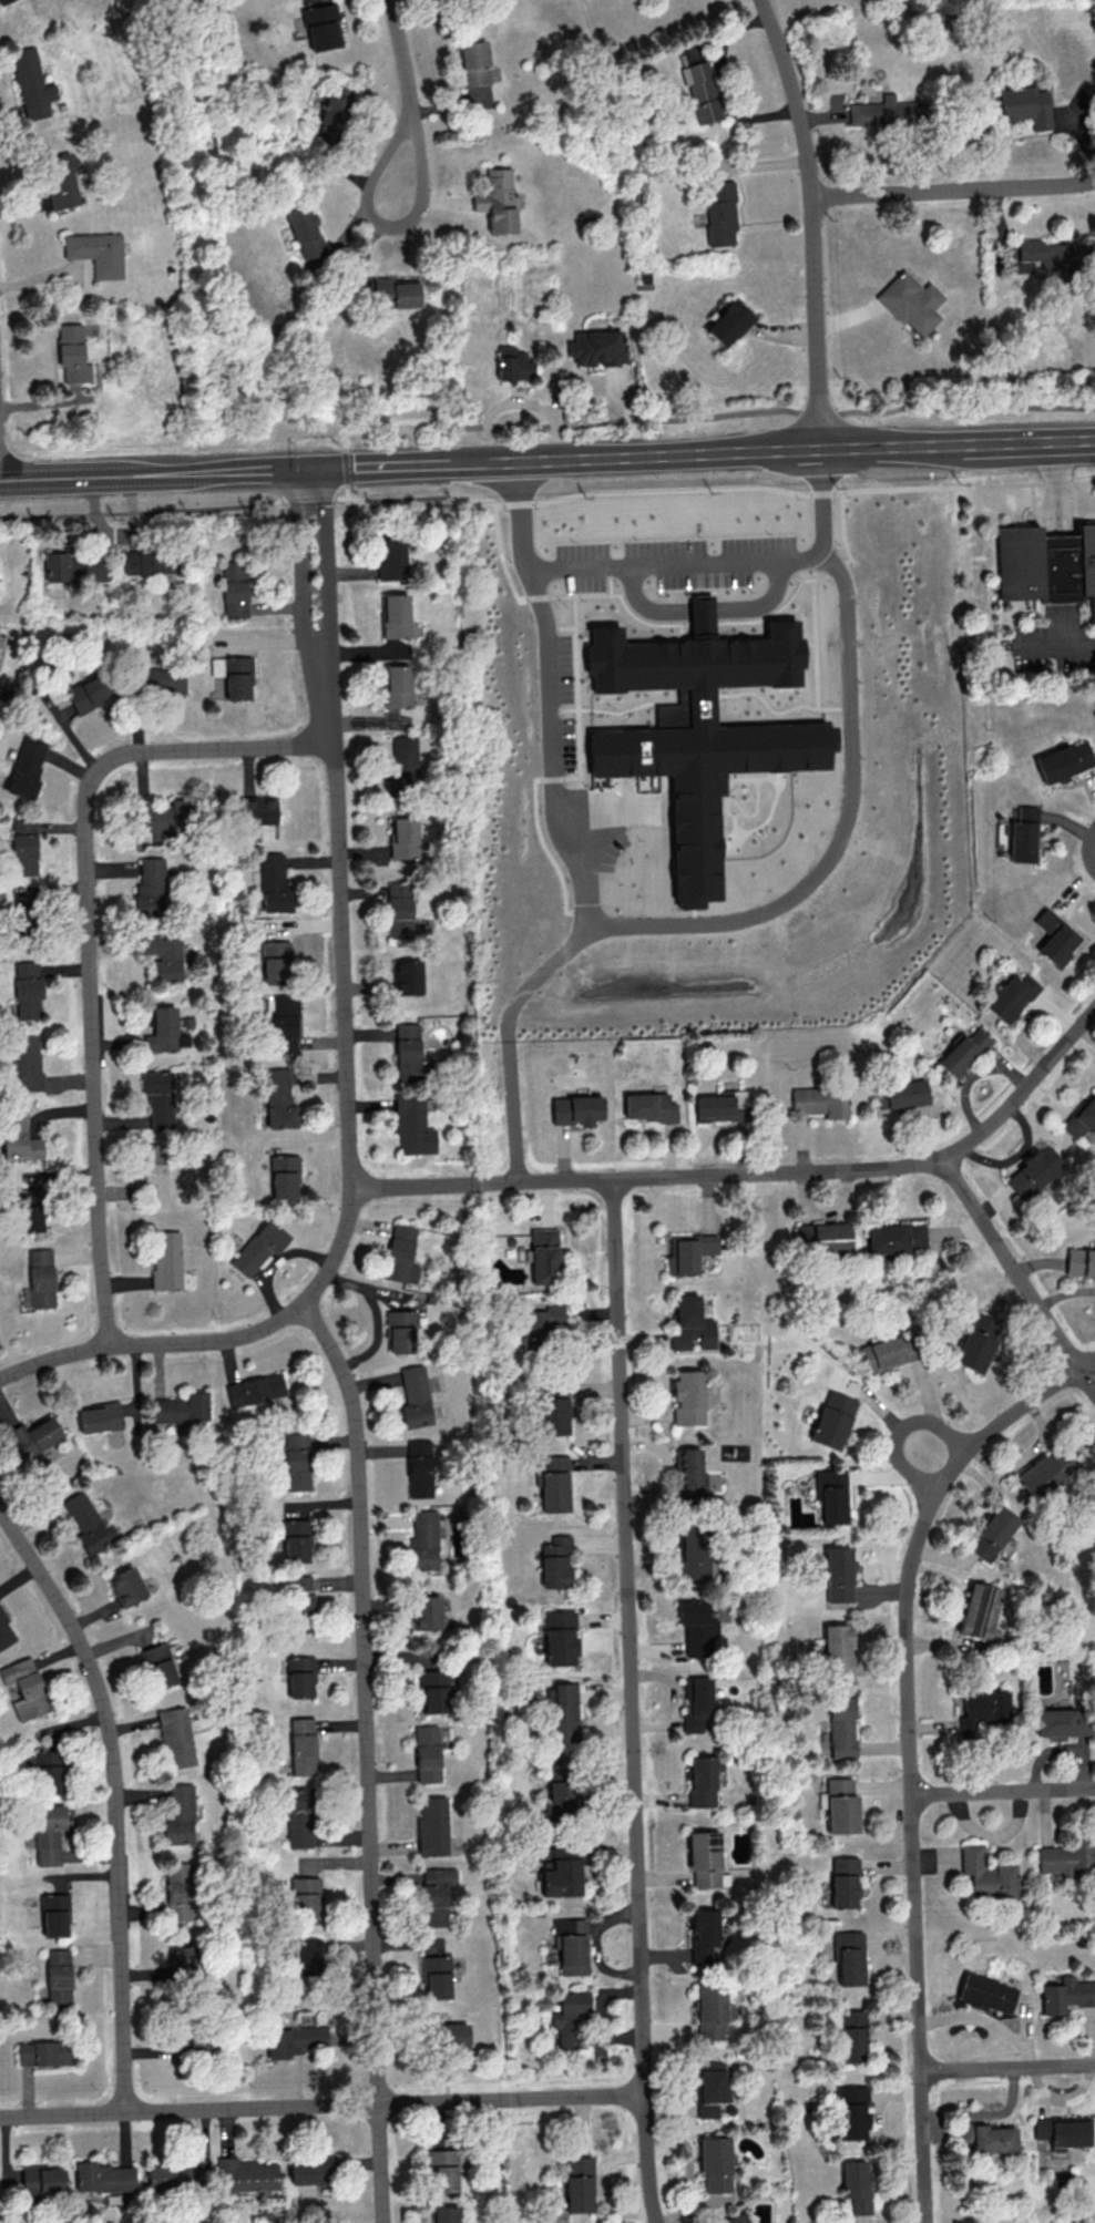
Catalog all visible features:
building: (2, 1)
building: (321, 25)
road: (403, 63)
building: (473, 63)
building: (31, 83)
building: (702, 91)
building: (1025, 105)
building: (332, 112)
building: (886, 112)
building: (60, 180)
road: (954, 189)
building: (497, 199)
building: (720, 215)
road: (813, 221)
road: (385, 225)
building: (305, 231)
building: (96, 252)
building: (1053, 254)
building: (396, 293)
building: (911, 301)
building: (728, 321)
building: (595, 347)
building: (72, 354)
building: (512, 363)
road: (964, 403)
road: (818, 412)
road: (560, 422)
road: (958, 444)
road: (666, 453)
road: (405, 463)
traffic signals: (309, 468)
road: (344, 468)
road: (147, 473)
road: (963, 484)
road: (671, 488)
road: (1054, 489)
road: (346, 491)
road: (821, 492)
road: (307, 498)
road: (418, 498)
road: (516, 503)
road: (140, 511)
building: (121, 532)
road: (849, 556)
building: (390, 559)
building: (144, 562)
road: (325, 562)
road: (299, 565)
road: (671, 565)
building: (1046, 567)
building: (72, 568)
building: (234, 587)
road: (518, 597)
road: (761, 603)
road: (646, 605)
road: (702, 609)
building: (395, 615)
road: (813, 643)
road: (1055, 645)
building: (233, 675)
building: (160, 679)
building: (397, 686)
building: (88, 693)
building: (702, 729)
building: (1063, 760)
building: (402, 761)
building: (25, 768)
building: (257, 809)
building: (164, 816)
building: (1022, 833)
building: (403, 837)
building: (23, 846)
road: (1087, 848)
building: (274, 883)
building: (150, 884)
building: (399, 909)
road: (700, 923)
building: (1055, 936)
road: (89, 938)
building: (163, 955)
building: (275, 961)
building: (406, 975)
road: (539, 976)
building: (27, 990)
building: (1011, 996)
building: (284, 1023)
building: (164, 1031)
building: (407, 1049)
building: (962, 1052)
building: (25, 1061)
building: (902, 1094)
building: (157, 1098)
building: (278, 1098)
building: (820, 1100)
building: (648, 1106)
building: (722, 1106)
building: (576, 1109)
road: (512, 1110)
building: (1082, 1117)
building: (411, 1125)
building: (19, 1138)
road: (350, 1146)
building: (154, 1171)
building: (1033, 1171)
road: (754, 1174)
building: (283, 1176)
building: (29, 1218)
building: (822, 1237)
building: (896, 1238)
building: (257, 1247)
building: (689, 1251)
building: (399, 1253)
building: (543, 1256)
building: (165, 1259)
building: (1081, 1262)
road: (1017, 1273)
road: (375, 1313)
building: (689, 1323)
building: (539, 1324)
building: (399, 1331)
building: (976, 1342)
building: (887, 1353)
building: (255, 1389)
building: (415, 1396)
building: (688, 1396)
building: (180, 1407)
building: (551, 1410)
building: (98, 1417)
building: (832, 1420)
road: (898, 1433)
building: (33, 1435)
building: (297, 1461)
building: (418, 1467)
building: (1045, 1472)
building: (689, 1475)
building: (554, 1483)
building: (830, 1495)
building: (86, 1523)
building: (991, 1531)
building: (295, 1540)
building: (422, 1541)
building: (694, 1553)
building: (555, 1561)
building: (837, 1574)
building: (125, 1586)
building: (299, 1592)
building: (426, 1611)
building: (979, 1611)
building: (696, 1628)
building: (6, 1631)
building: (559, 1637)
building: (837, 1650)
building: (158, 1664)
building: (300, 1677)
building: (24, 1688)
building: (433, 1690)
road: (632, 1701)
building: (696, 1703)
building: (981, 1710)
building: (563, 1712)
building: (1063, 1721)
building: (840, 1727)
building: (175, 1737)
building: (301, 1745)
road: (908, 1750)
building: (427, 1753)
road: (368, 1756)
building: (45, 1771)
building: (702, 1780)
road: (1002, 1791)
road: (117, 1795)
building: (561, 1797)
building: (838, 1805)
building: (178, 1813)
building: (299, 1816)
building: (432, 1826)
building: (48, 1833)
building: (1065, 1857)
building: (705, 1858)
building: (560, 1871)
building: (985, 1873)
building: (178, 1889)
building: (436, 1894)
building: (305, 1897)
building: (54, 1914)
building: (703, 1935)
building: (571, 1945)
building: (308, 1956)
building: (848, 1956)
building: (182, 1959)
building: (437, 1976)
building: (58, 1977)
building: (985, 1994)
building: (1066, 1995)
building: (710, 2010)
building: (570, 2017)
building: (454, 2035)
building: (850, 2035)
building: (295, 2040)
building: (191, 2043)
building: (44, 2052)
road: (1007, 2067)
building: (710, 2087)
road: (323, 2106)
building: (850, 2111)
building: (1063, 2131)
building: (987, 2137)
building: (714, 2162)
building: (309, 2170)
building: (443, 2170)
building: (246, 2174)
building: (174, 2175)
building: (103, 2176)
building: (42, 2179)
building: (579, 2183)
building: (856, 2184)
building: (444, 2214)
building: (736, 2219)

